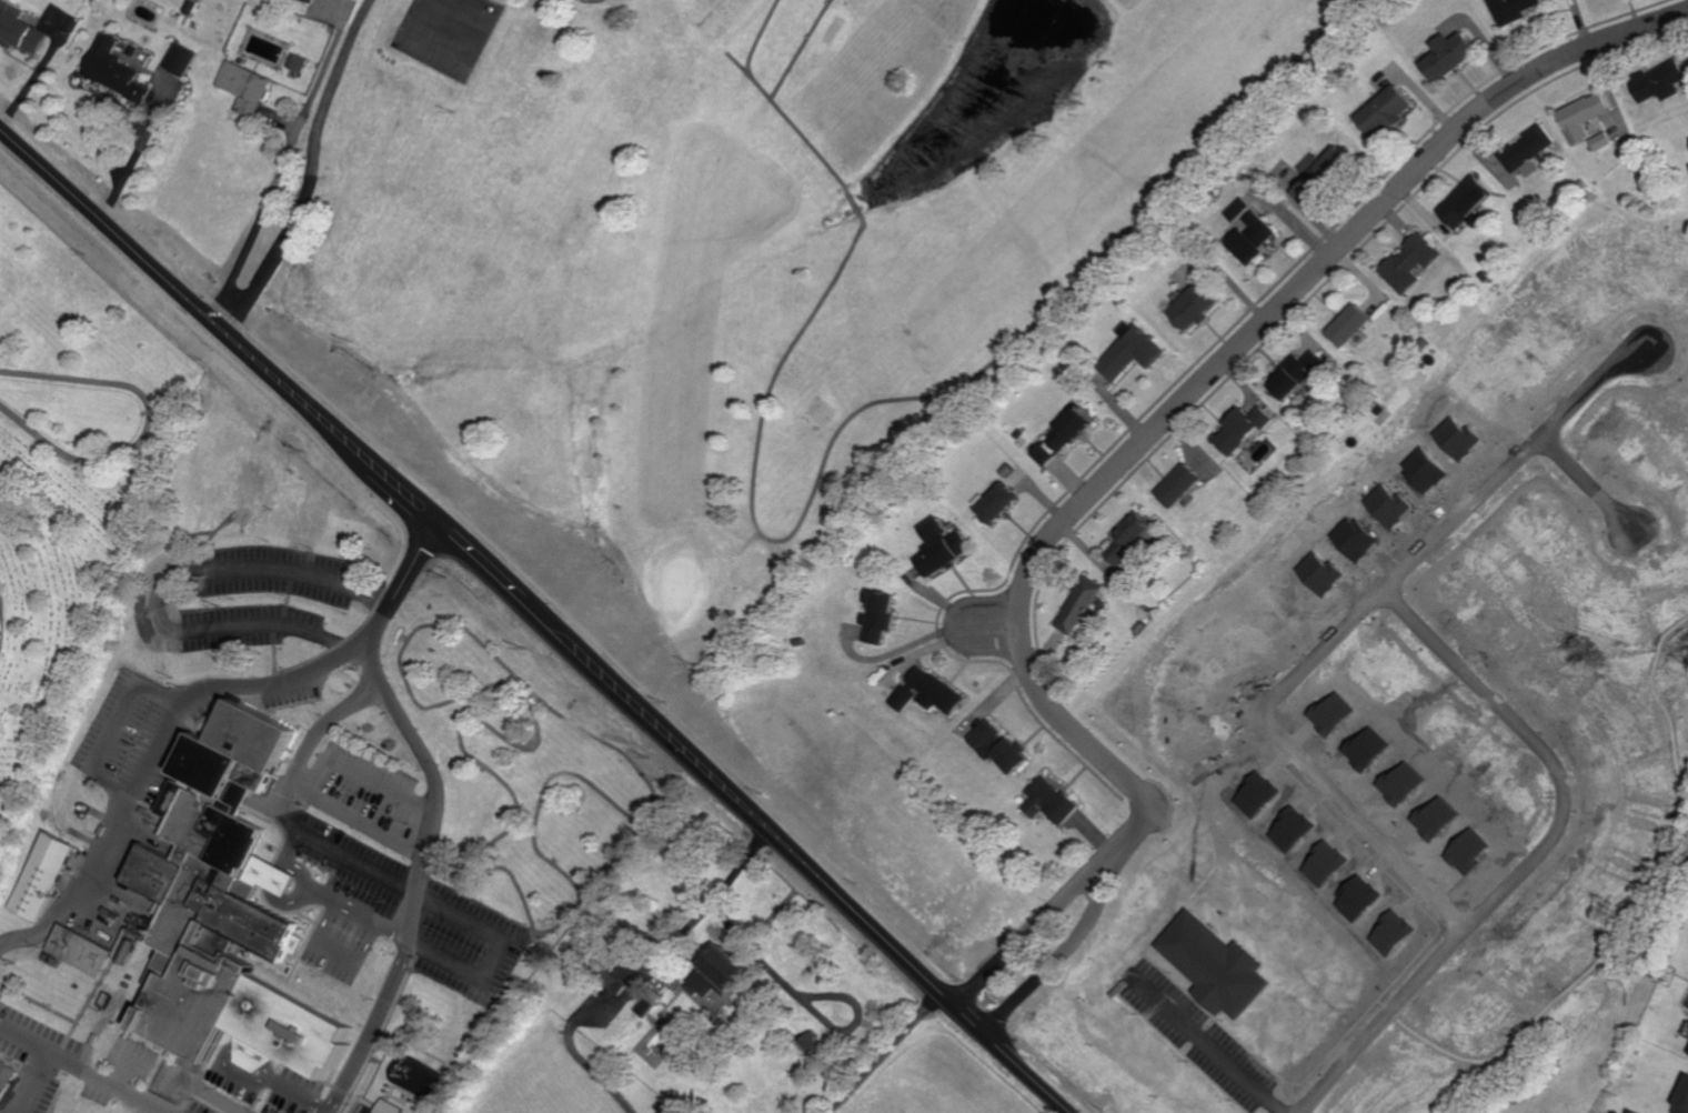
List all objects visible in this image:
building: (309, 1)
building: (187, 6)
building: (1509, 9)
building: (18, 29)
park: (446, 33)
building: (1447, 54)
building: (177, 58)
building: (294, 61)
building: (111, 69)
building: (1657, 80)
road: (28, 84)
building: (242, 86)
building: (1384, 111)
building: (1581, 116)
building: (1599, 140)
building: (1525, 150)
road: (283, 158)
road: (129, 159)
road: (308, 164)
building: (1318, 173)
building: (1463, 201)
building: (1236, 209)
building: (1250, 238)
building: (1407, 261)
park: (713, 262)
road: (168, 265)
road: (151, 274)
building: (1192, 305)
building: (1346, 324)
building: (1131, 352)
building: (1294, 374)
road: (1197, 390)
road: (143, 427)
building: (1239, 428)
building: (1059, 437)
park: (71, 464)
road: (1589, 482)
building: (1177, 484)
building: (995, 502)
building: (1128, 538)
building: (940, 547)
road: (163, 586)
building: (1077, 604)
building: (875, 616)
road: (1342, 631)
road: (413, 633)
road: (534, 636)
building: (925, 692)
road: (175, 710)
road: (117, 729)
road: (312, 743)
building: (995, 745)
road: (363, 773)
building: (1047, 801)
road: (432, 814)
road: (359, 815)
road: (294, 846)
road: (1533, 858)
road: (285, 864)
building: (41, 873)
road: (361, 909)
building: (223, 910)
road: (459, 913)
road: (47, 922)
road: (1019, 939)
road: (338, 952)
road: (1052, 965)
building: (715, 972)
road: (634, 986)
road: (805, 997)
building: (644, 1007)
building: (811, 1043)
road: (1206, 1044)
road: (876, 1054)
road: (221, 1060)
road: (83, 1067)
road: (122, 1073)
building: (7, 1076)
road: (33, 1081)
road: (297, 1091)
building: (1682, 1096)
road: (209, 1097)
building: (389, 1106)
building: (1632, 1111)

